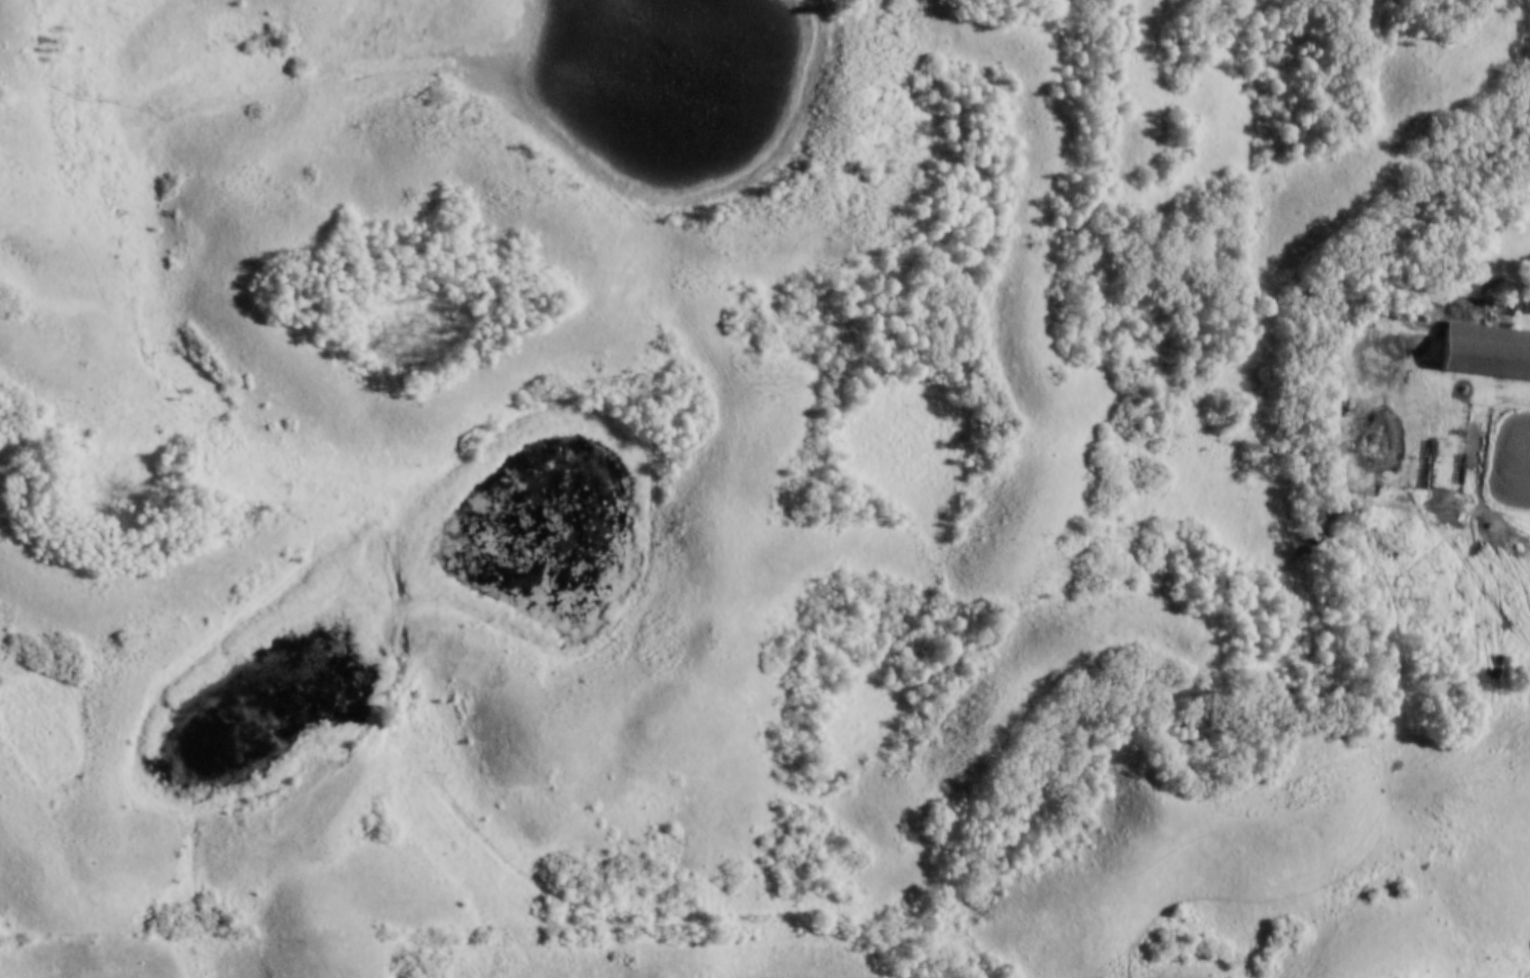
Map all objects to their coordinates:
building: (1488, 350)

